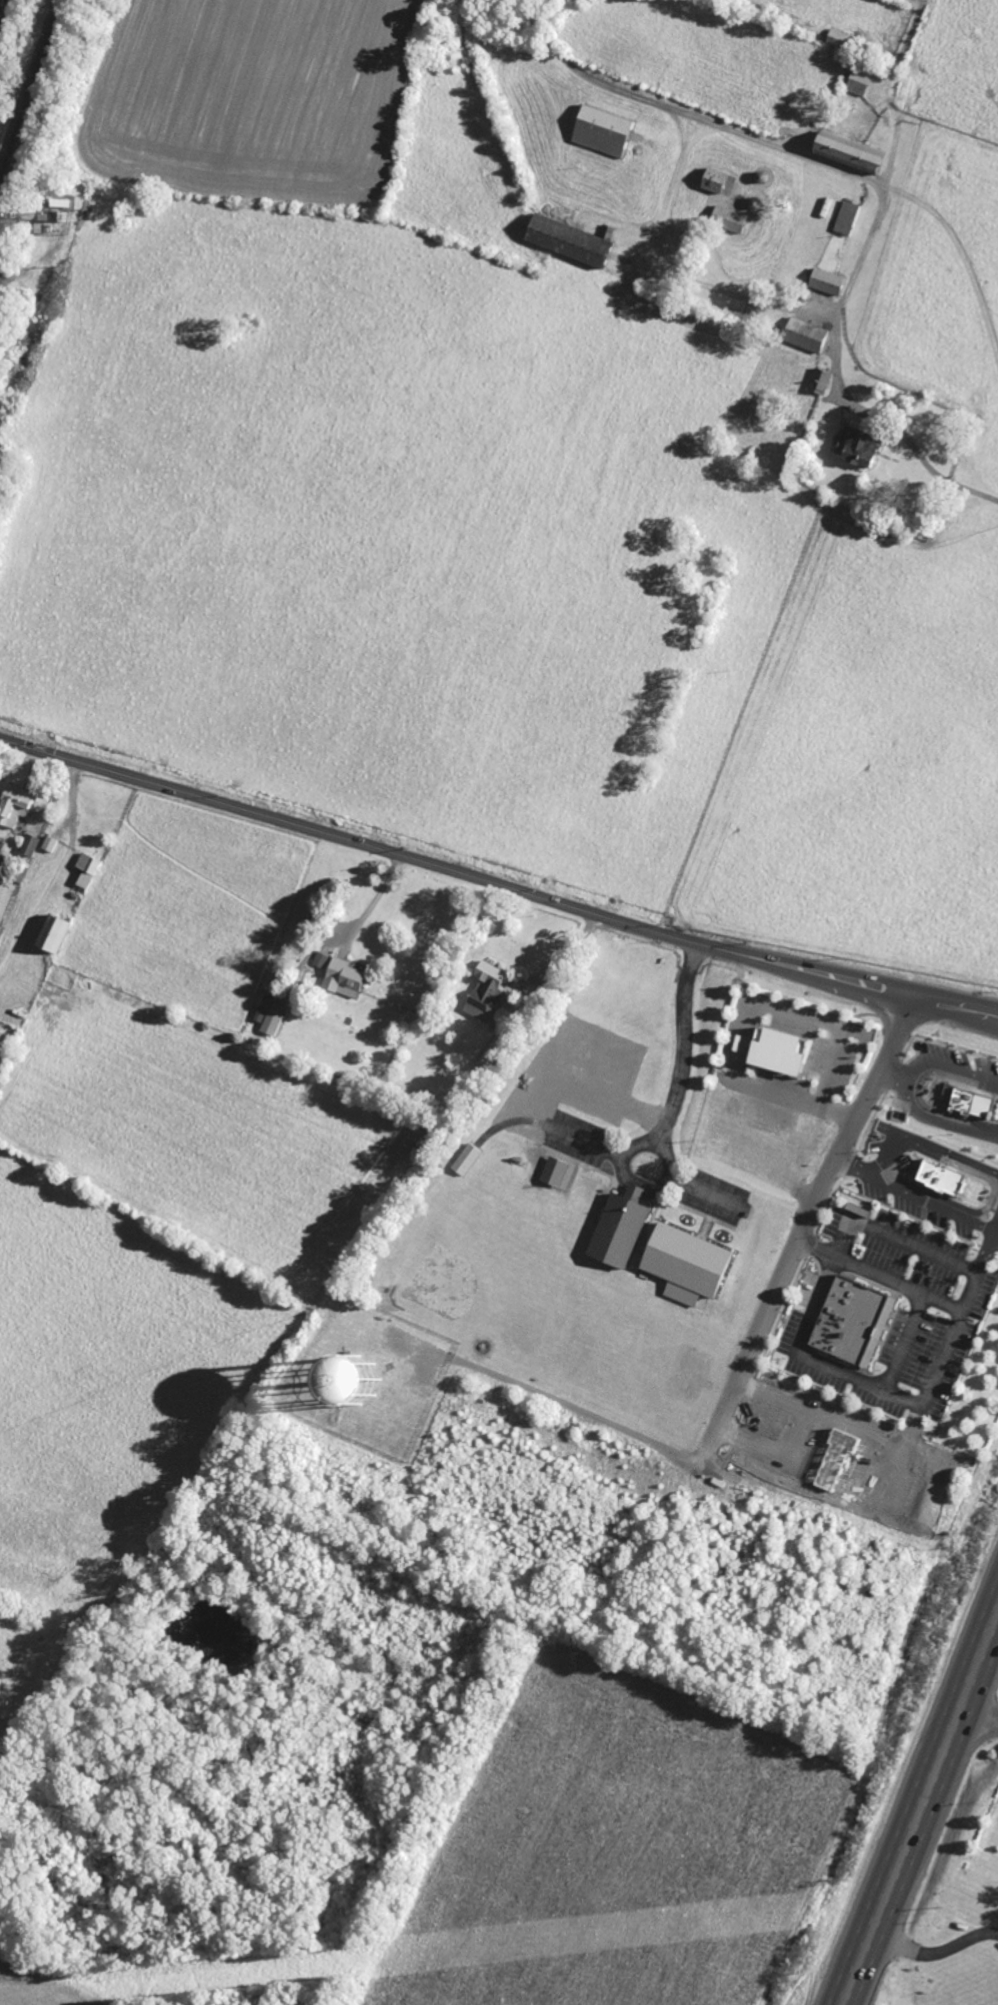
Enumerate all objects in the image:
road: (564, 58)
building: (859, 81)
railway: (31, 87)
building: (603, 130)
building: (849, 152)
building: (714, 180)
building: (847, 217)
building: (729, 218)
building: (571, 239)
road: (862, 247)
road: (964, 255)
building: (827, 281)
road: (735, 294)
building: (806, 334)
building: (820, 380)
building: (858, 445)
building: (15, 804)
building: (49, 843)
building: (29, 844)
building: (87, 869)
road: (496, 885)
road: (374, 902)
building: (53, 932)
road: (563, 954)
building: (320, 959)
building: (344, 978)
building: (486, 991)
road: (745, 1012)
building: (779, 1049)
road: (888, 1075)
road: (903, 1087)
road: (672, 1093)
building: (968, 1100)
road: (997, 1134)
road: (925, 1147)
building: (465, 1159)
road: (848, 1164)
road: (925, 1204)
road: (802, 1225)
building: (621, 1227)
road: (843, 1233)
road: (985, 1248)
building: (689, 1259)
building: (854, 1321)
road: (902, 1344)
building: (357, 1380)
water tower: (357, 1387)
road: (576, 1406)
road: (799, 1432)
road: (979, 1714)
road: (920, 1807)
road: (934, 1950)

